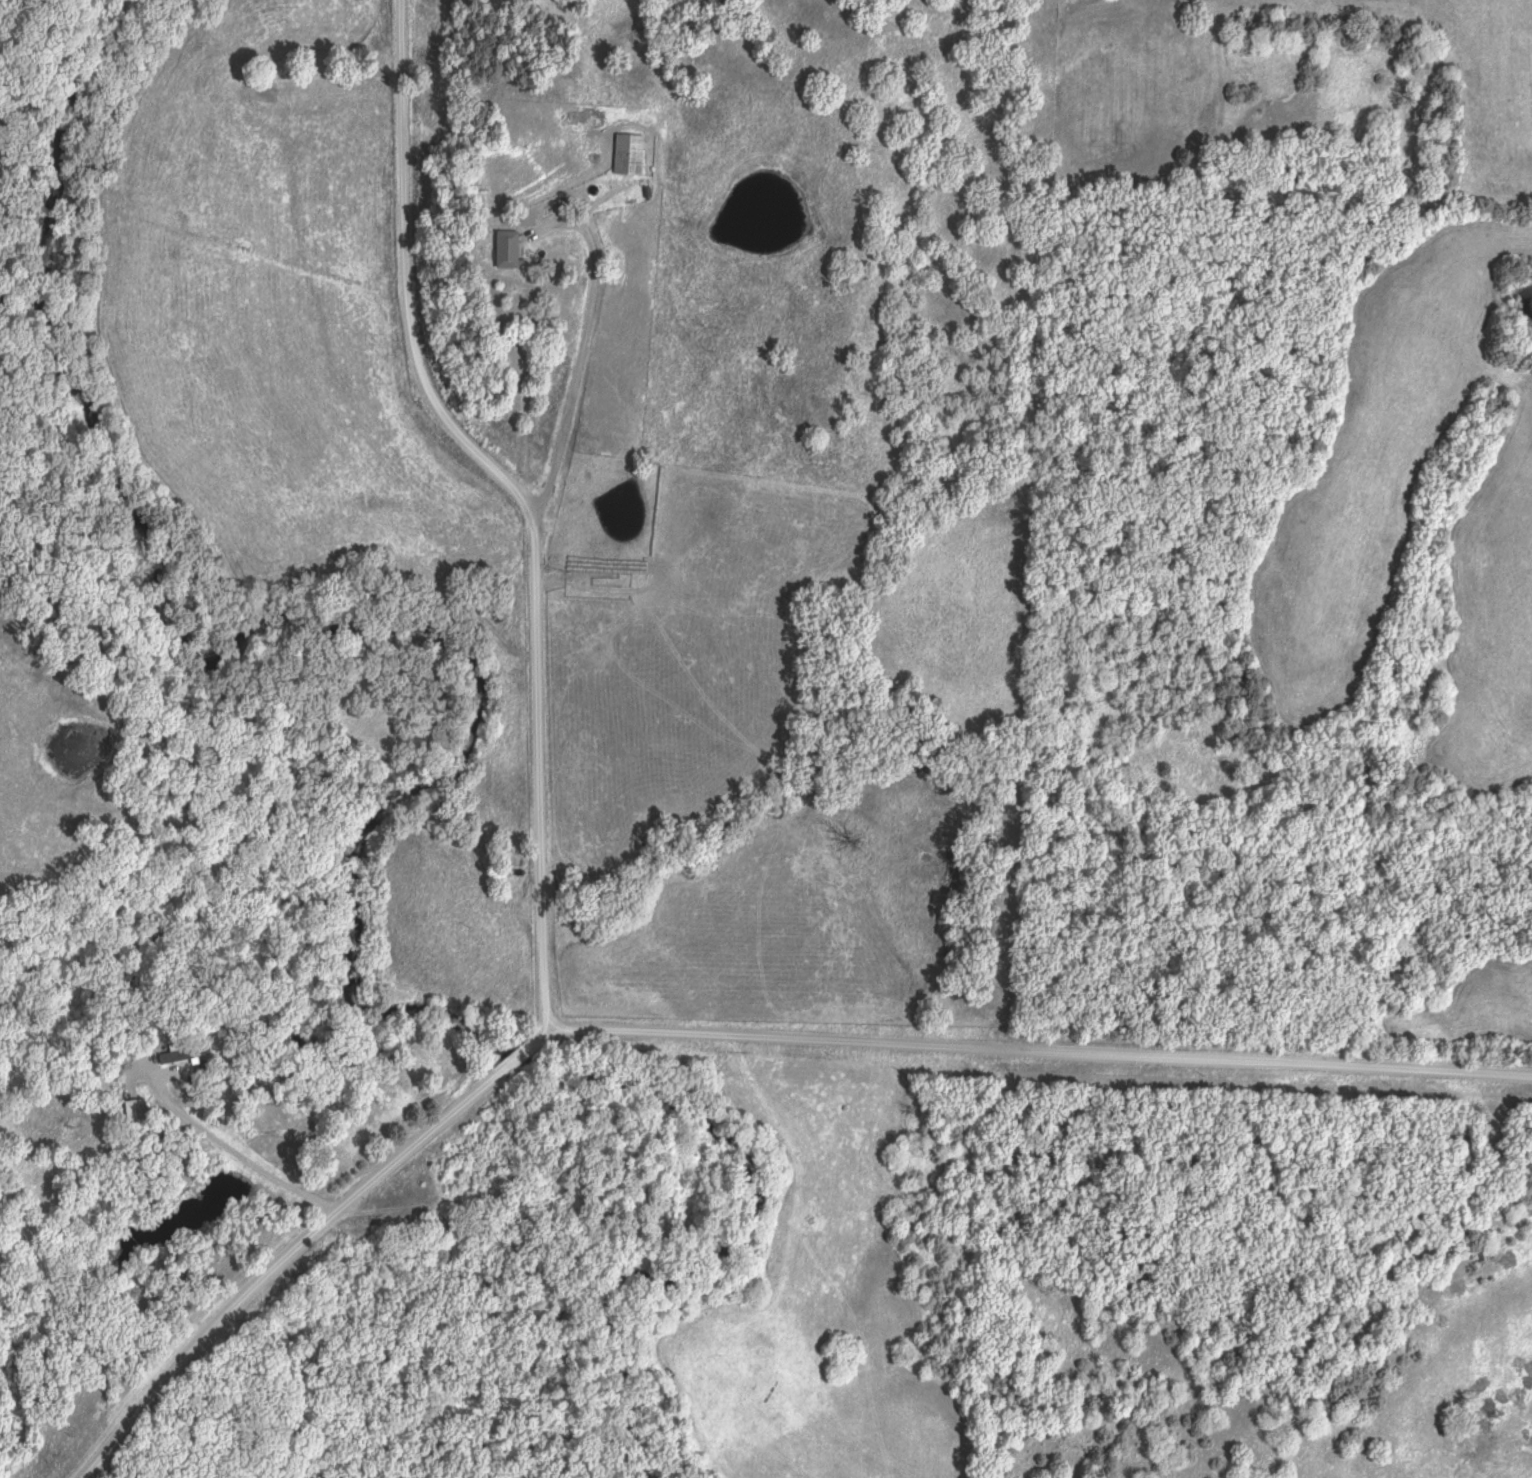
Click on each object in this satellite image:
road: (878, 8)
building: (629, 155)
building: (507, 250)
road: (584, 317)
road: (524, 496)
road: (715, 1035)
building: (185, 1054)
building: (137, 1116)
road: (243, 1158)

